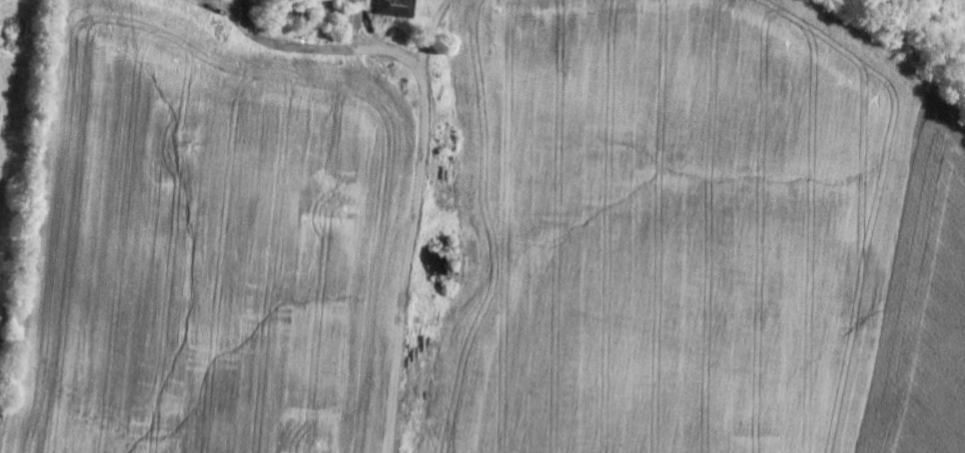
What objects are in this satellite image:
building: (393, 9)

